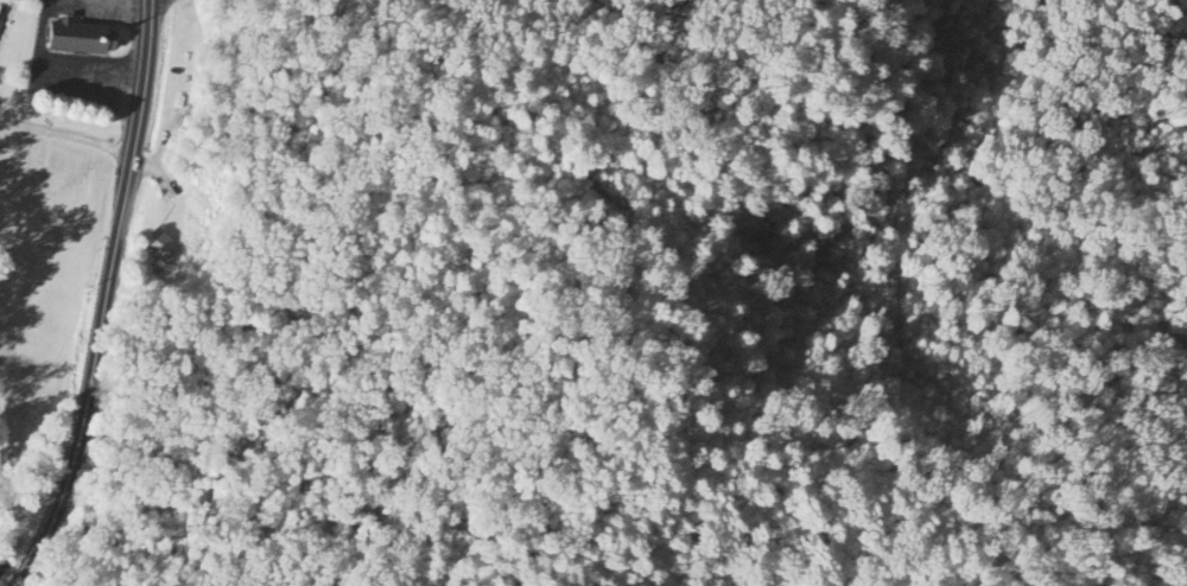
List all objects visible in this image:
road: (121, 4)
building: (81, 39)
road: (59, 70)
road: (68, 136)
building: (160, 249)
road: (104, 297)
road: (12, 550)

